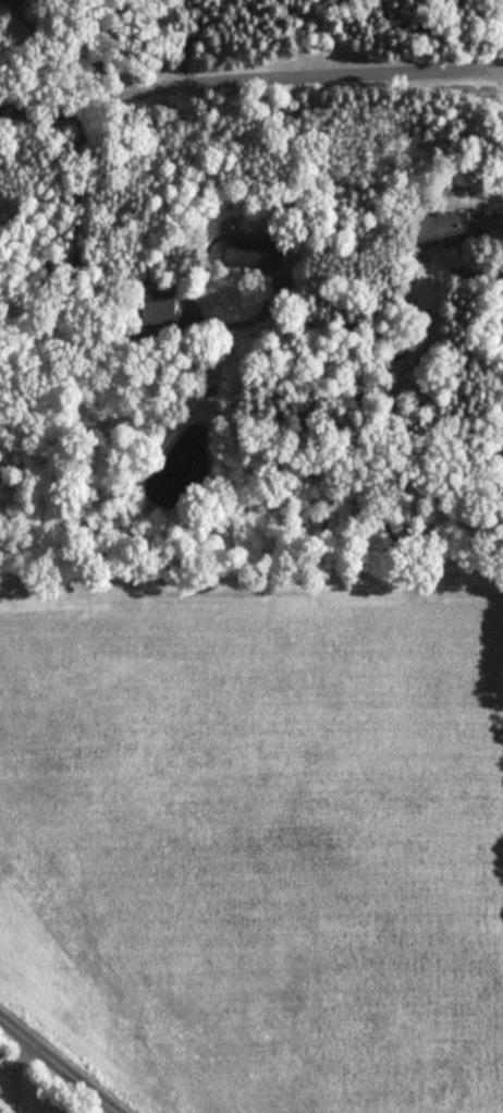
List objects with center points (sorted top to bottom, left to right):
road: (250, 80)
road: (501, 216)
building: (446, 227)
building: (250, 253)
building: (156, 305)
road: (58, 1065)
building: (0, 1112)

